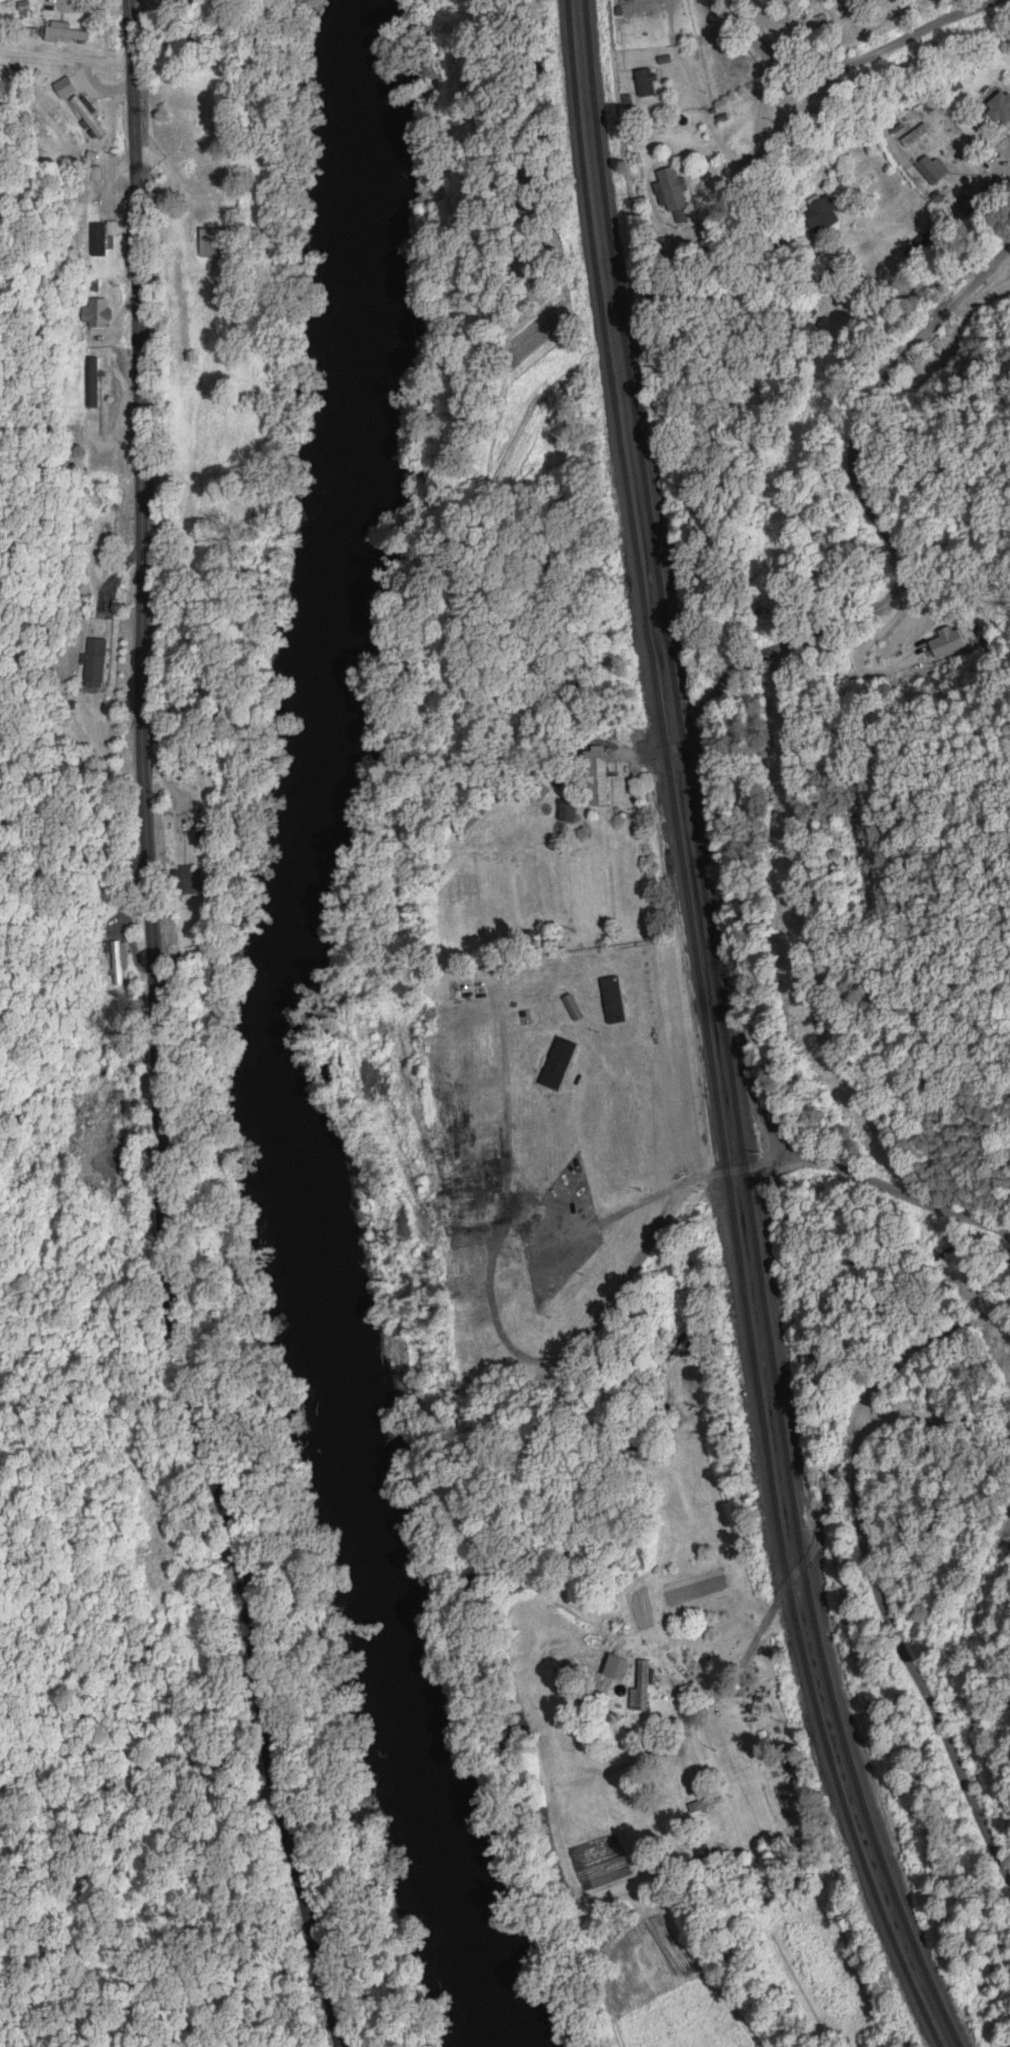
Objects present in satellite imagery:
road: (888, 89)
building: (1002, 107)
building: (932, 171)
building: (673, 190)
building: (948, 643)
building: (601, 776)
railway: (671, 793)
road: (801, 804)
building: (570, 812)
building: (115, 969)
building: (617, 1001)
road: (157, 1033)
railway: (724, 1033)
river: (330, 1040)
building: (489, 1060)
building: (579, 1287)
road: (999, 1368)
road: (999, 1413)
road: (877, 1588)
road: (785, 1589)
building: (645, 1680)

